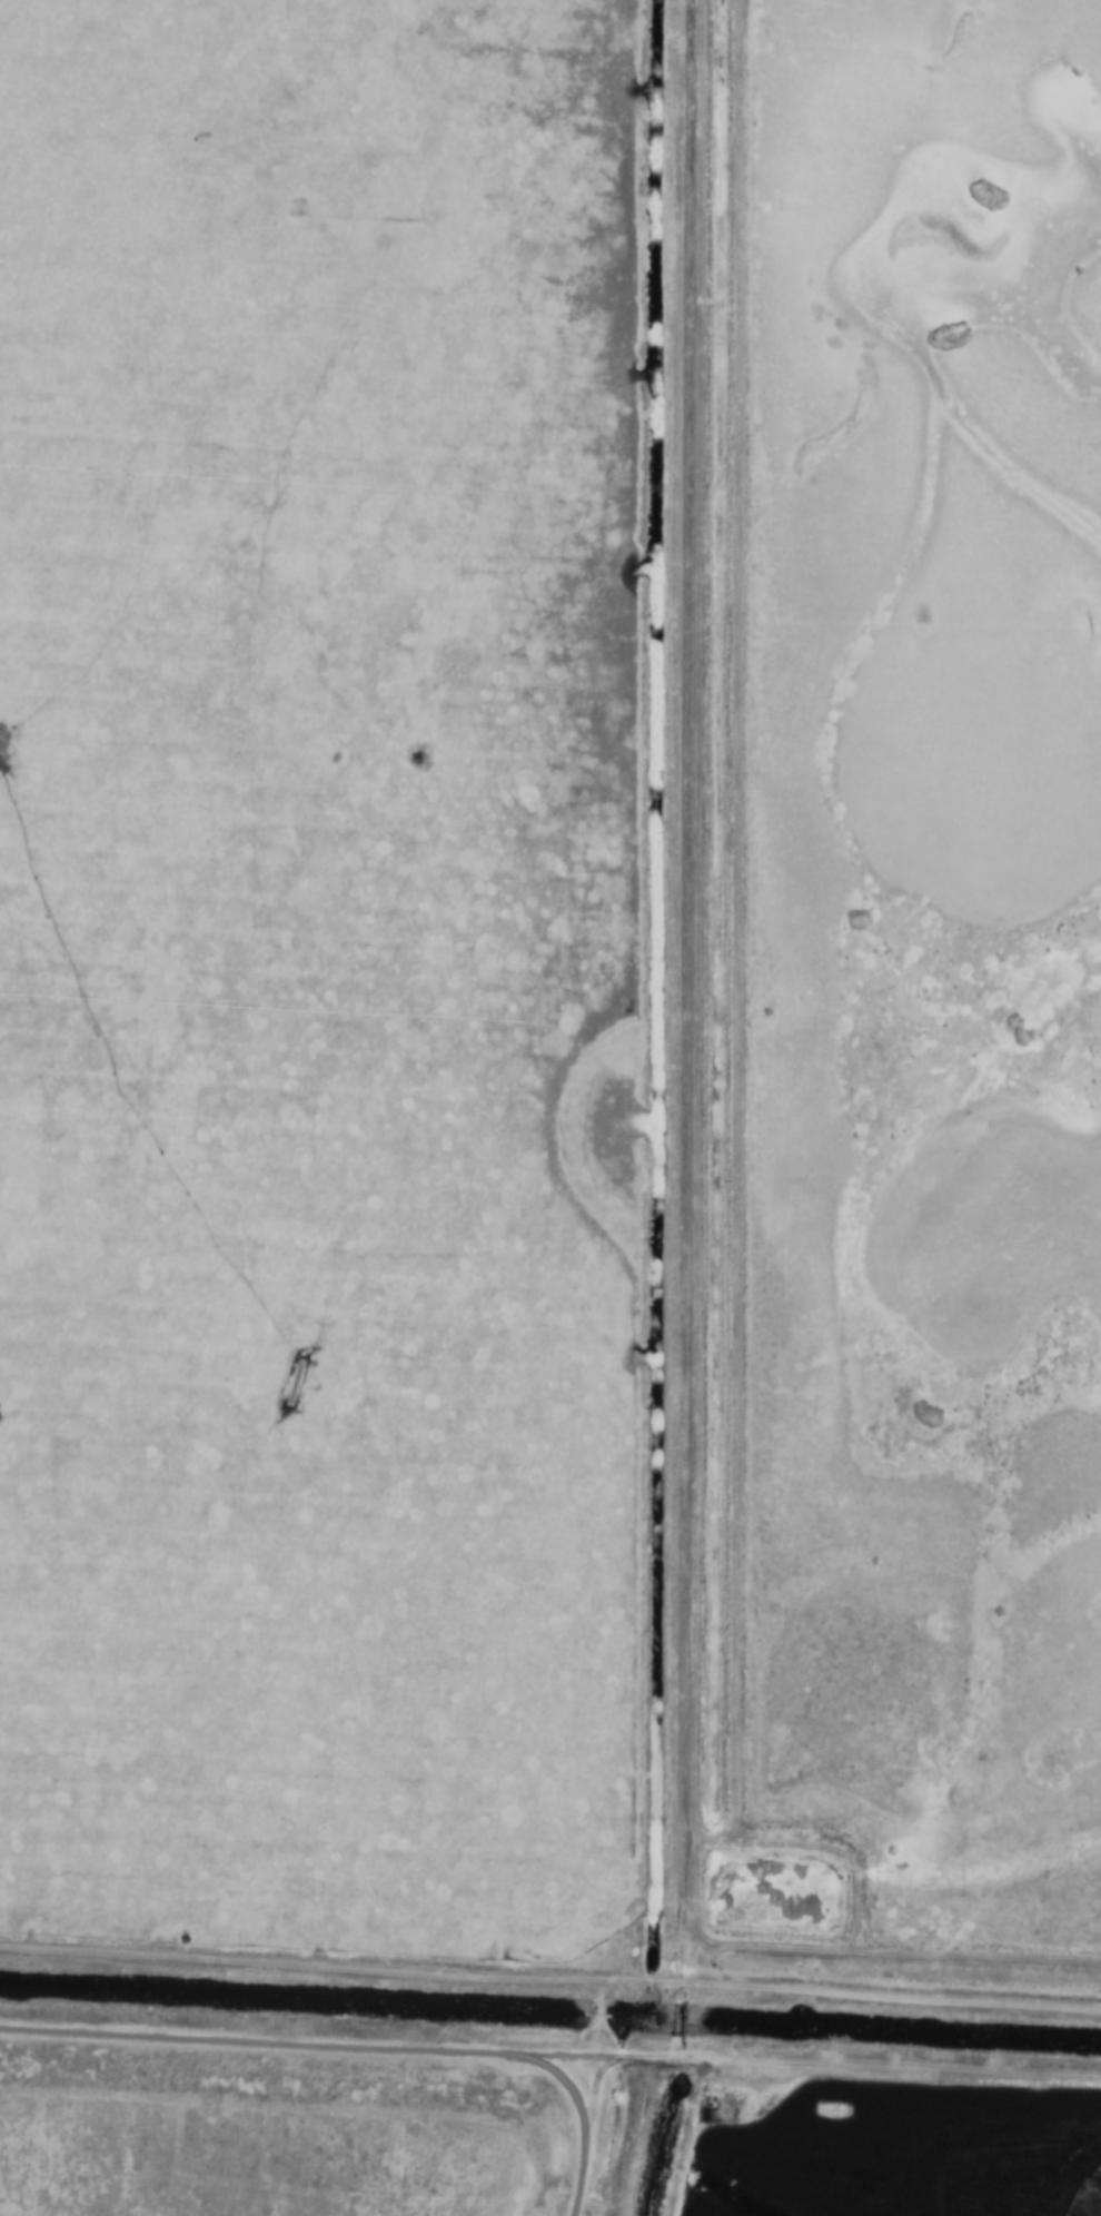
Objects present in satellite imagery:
road: (355, 2052)

